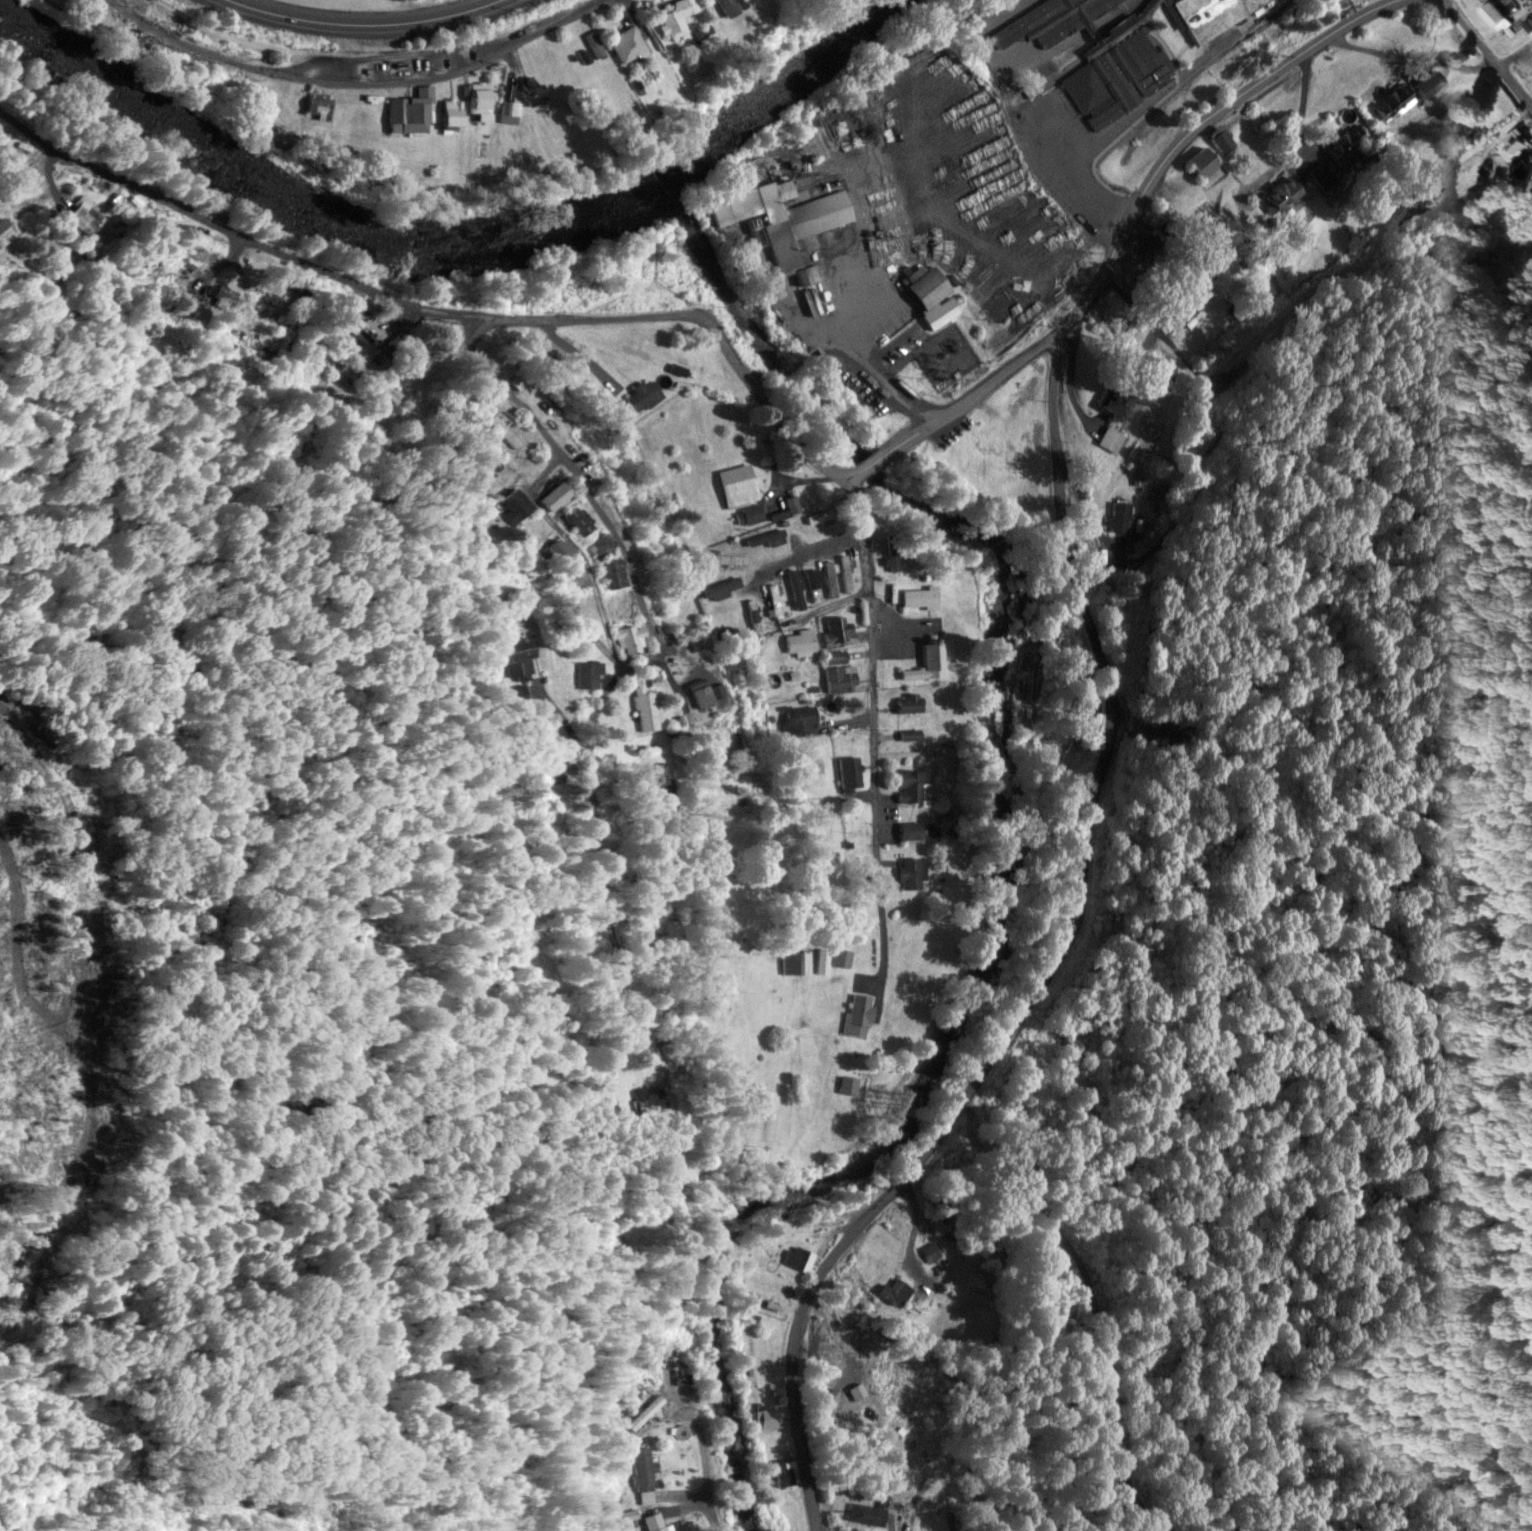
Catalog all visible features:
building: (727, 6)
building: (1213, 13)
building: (1494, 14)
road: (373, 15)
building: (675, 15)
road: (270, 41)
building: (593, 42)
building: (625, 43)
road: (491, 50)
road: (1515, 53)
road: (236, 55)
road: (1492, 56)
building: (1427, 83)
building: (532, 88)
building: (1398, 94)
building: (477, 98)
building: (293, 107)
building: (411, 109)
building: (510, 110)
building: (451, 111)
road: (1197, 129)
building: (1223, 139)
building: (1347, 143)
building: (1513, 143)
building: (1205, 164)
building: (1323, 173)
building: (1281, 193)
building: (784, 222)
river: (460, 252)
building: (930, 294)
road: (1140, 302)
road: (440, 307)
building: (1185, 307)
building: (634, 347)
road: (858, 356)
building: (1025, 391)
building: (641, 394)
road: (961, 406)
building: (507, 430)
building: (1111, 436)
building: (736, 484)
road: (593, 492)
building: (554, 495)
building: (518, 499)
building: (791, 502)
building: (751, 512)
building: (778, 512)
building: (1119, 515)
building: (819, 516)
building: (579, 518)
building: (536, 528)
building: (765, 536)
building: (601, 544)
road: (814, 549)
building: (559, 550)
building: (726, 558)
building: (614, 572)
building: (830, 577)
road: (591, 578)
building: (813, 583)
building: (722, 587)
building: (796, 587)
building: (918, 596)
building: (775, 599)
road: (835, 603)
building: (618, 606)
building: (588, 607)
building: (753, 615)
building: (837, 629)
building: (630, 636)
building: (799, 641)
building: (835, 655)
building: (927, 662)
building: (586, 672)
building: (841, 677)
building: (700, 694)
building: (908, 701)
building: (646, 707)
building: (798, 717)
road: (874, 719)
building: (908, 733)
building: (849, 772)
building: (911, 785)
building: (909, 829)
building: (912, 871)
building: (842, 956)
building: (821, 959)
building: (796, 960)
road: (1054, 960)
building: (859, 1012)
building: (847, 1083)
building: (931, 1250)
building: (798, 1255)
building: (897, 1289)
building: (681, 1373)
building: (767, 1415)
building: (784, 1470)
building: (868, 1513)
building: (656, 1522)

